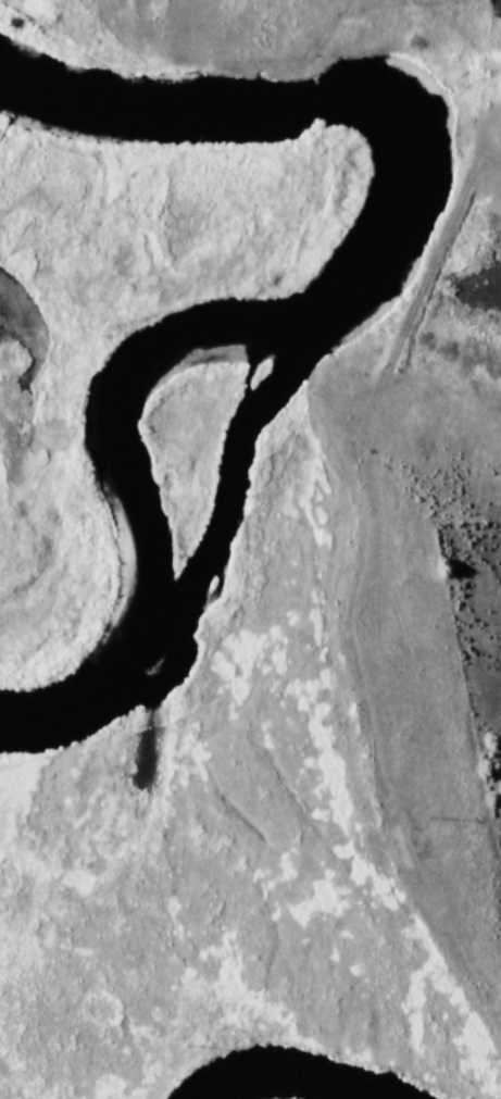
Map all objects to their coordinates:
river: (309, 299)
river: (292, 1075)

